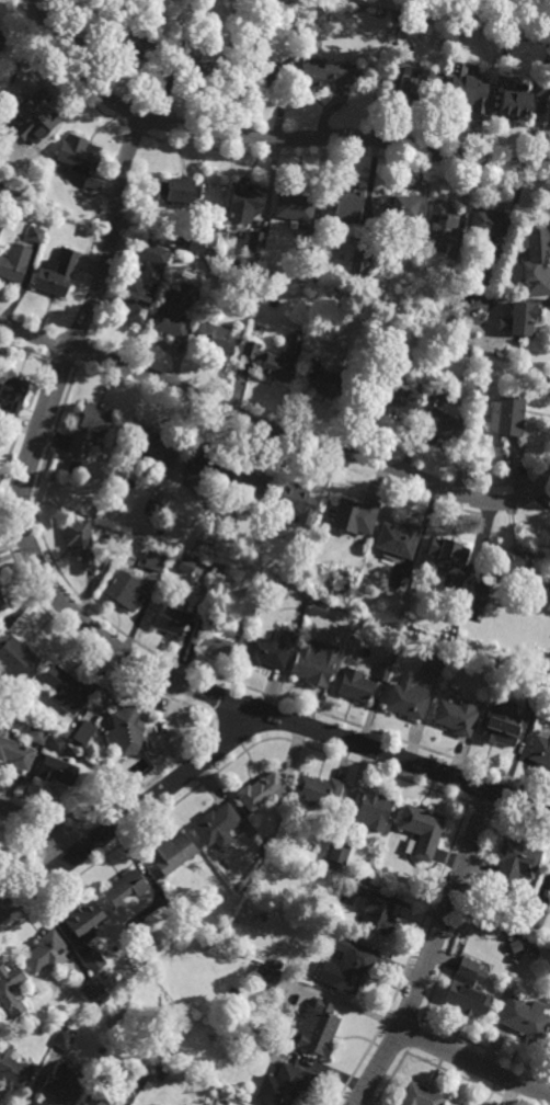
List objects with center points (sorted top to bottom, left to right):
park: (478, 12)
building: (1, 38)
building: (136, 39)
building: (402, 54)
building: (202, 66)
road: (76, 70)
building: (268, 71)
building: (323, 73)
building: (511, 79)
building: (422, 87)
building: (543, 89)
building: (469, 92)
building: (35, 103)
building: (517, 103)
road: (347, 138)
building: (82, 160)
building: (179, 192)
building: (244, 202)
building: (294, 205)
building: (350, 205)
building: (406, 207)
building: (1, 220)
building: (490, 225)
building: (217, 227)
building: (443, 227)
building: (35, 235)
building: (312, 242)
building: (197, 243)
building: (255, 243)
building: (538, 249)
building: (152, 254)
building: (124, 259)
building: (362, 259)
building: (14, 263)
building: (57, 274)
building: (451, 274)
building: (486, 283)
building: (139, 294)
building: (461, 315)
building: (173, 316)
building: (522, 322)
building: (215, 340)
building: (267, 364)
building: (323, 380)
building: (435, 388)
building: (445, 391)
building: (12, 396)
building: (398, 398)
building: (507, 413)
building: (446, 424)
building: (89, 426)
road: (275, 429)
building: (153, 444)
building: (203, 468)
road: (23, 478)
building: (248, 485)
building: (297, 500)
building: (152, 509)
building: (218, 514)
building: (355, 514)
building: (194, 538)
building: (398, 539)
building: (79, 540)
building: (549, 540)
building: (448, 549)
building: (548, 556)
building: (154, 560)
building: (514, 561)
building: (186, 565)
building: (217, 572)
building: (125, 590)
building: (2, 604)
building: (171, 618)
building: (221, 636)
building: (267, 649)
building: (14, 657)
building: (435, 659)
building: (542, 661)
building: (312, 669)
building: (383, 671)
building: (355, 685)
building: (68, 690)
building: (535, 690)
building: (547, 691)
building: (406, 698)
building: (456, 716)
building: (502, 725)
building: (1, 728)
building: (65, 731)
building: (128, 731)
building: (83, 732)
building: (37, 733)
building: (55, 742)
building: (540, 750)
building: (15, 754)
road: (413, 764)
building: (56, 771)
building: (260, 791)
building: (318, 791)
building: (375, 806)
road: (136, 809)
building: (217, 827)
road: (41, 828)
building: (421, 831)
building: (260, 848)
building: (173, 853)
building: (337, 853)
building: (516, 863)
building: (549, 886)
building: (345, 887)
building: (125, 888)
building: (378, 918)
building: (83, 919)
building: (536, 919)
building: (147, 942)
road: (431, 950)
building: (44, 952)
building: (532, 953)
building: (92, 960)
building: (352, 965)
building: (265, 975)
building: (11, 988)
building: (91, 989)
building: (468, 991)
building: (526, 1018)
building: (318, 1029)
building: (64, 1037)
building: (549, 1044)
road: (475, 1062)
road: (437, 1066)
building: (13, 1070)
building: (138, 1079)
building: (289, 1084)
building: (62, 1086)
building: (421, 1096)
building: (96, 1097)
building: (225, 1103)
building: (146, 1104)

